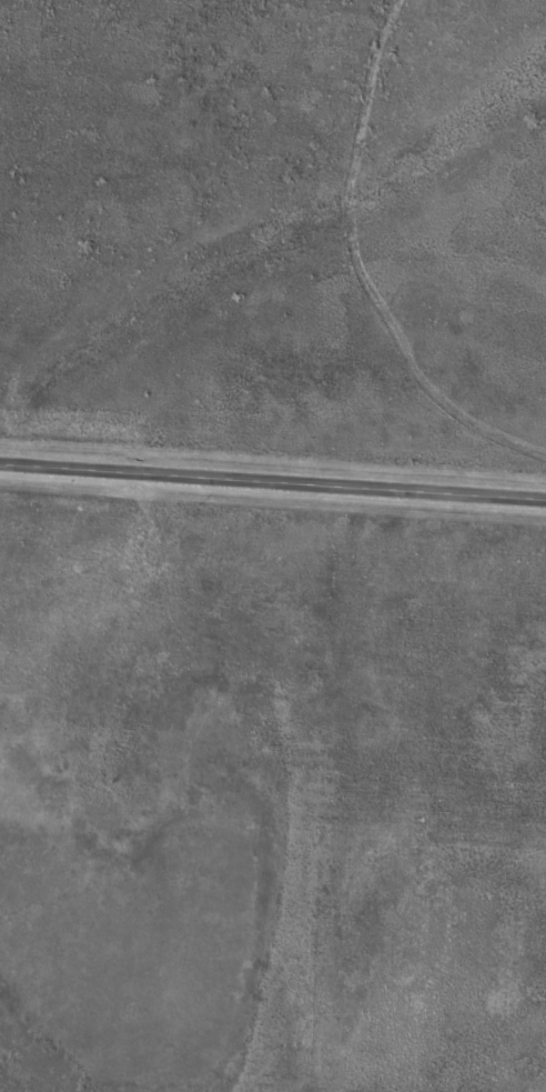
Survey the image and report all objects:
road: (273, 480)

